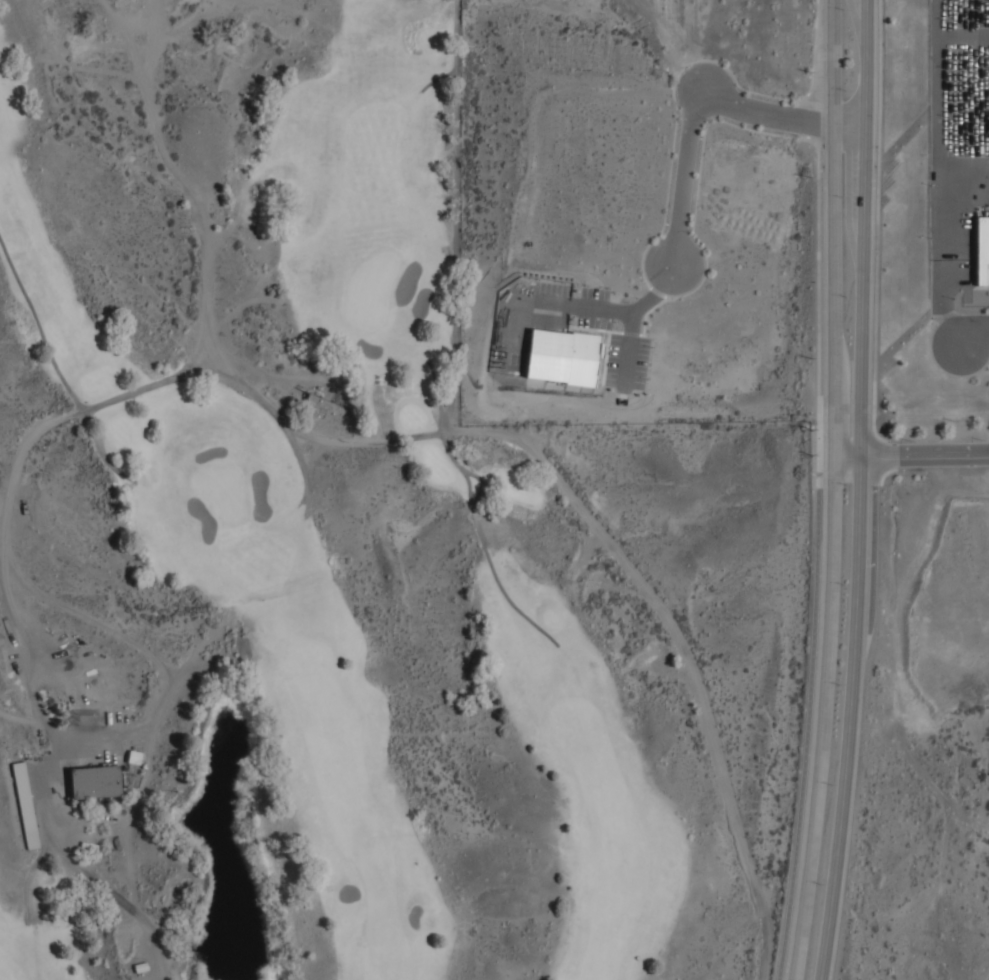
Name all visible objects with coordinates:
road: (456, 52)
road: (695, 95)
parking lot: (957, 126)
building: (982, 251)
parking lot: (955, 286)
road: (611, 308)
road: (970, 330)
road: (628, 348)
building: (560, 355)
road: (56, 367)
road: (911, 455)
road: (833, 490)
road: (861, 490)
park: (347, 551)
road: (808, 706)
building: (95, 781)

